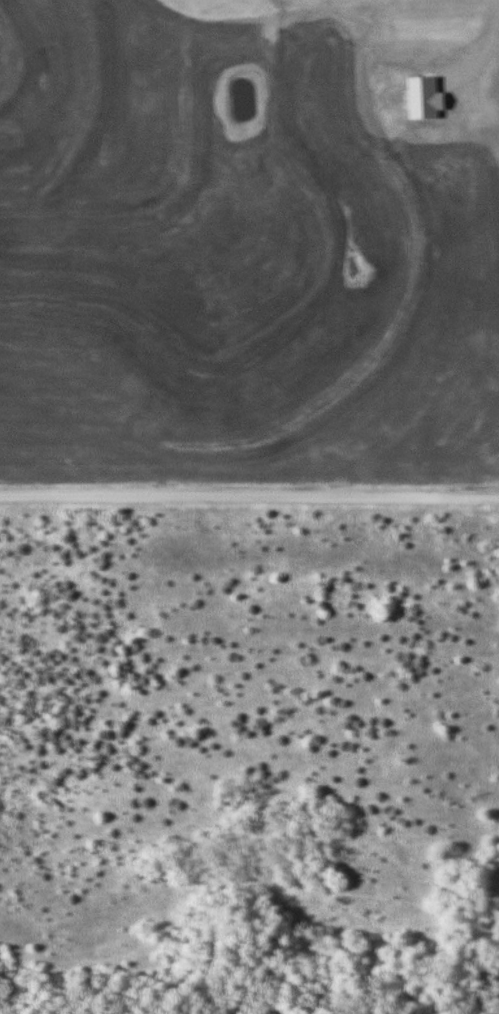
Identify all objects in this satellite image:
road: (249, 499)

